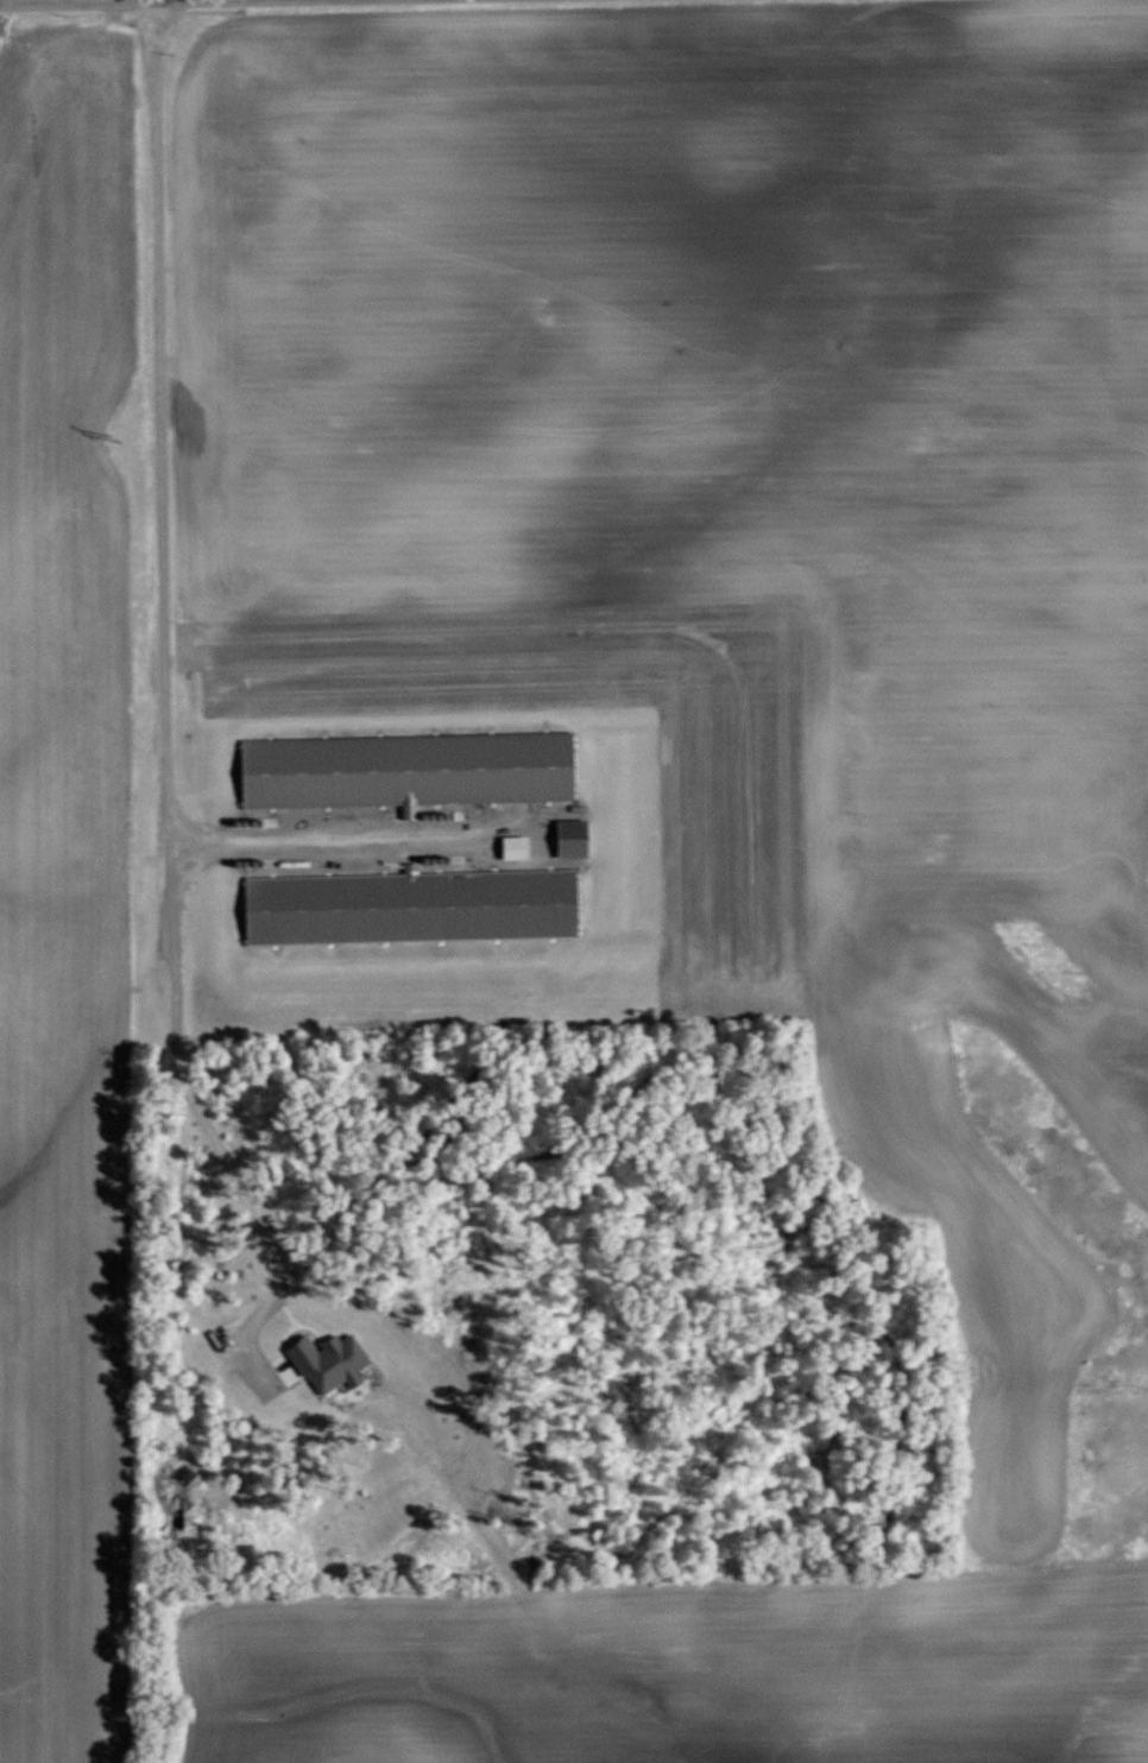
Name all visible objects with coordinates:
power tower: (114, 438)
road: (164, 702)
building: (409, 770)
building: (412, 906)

